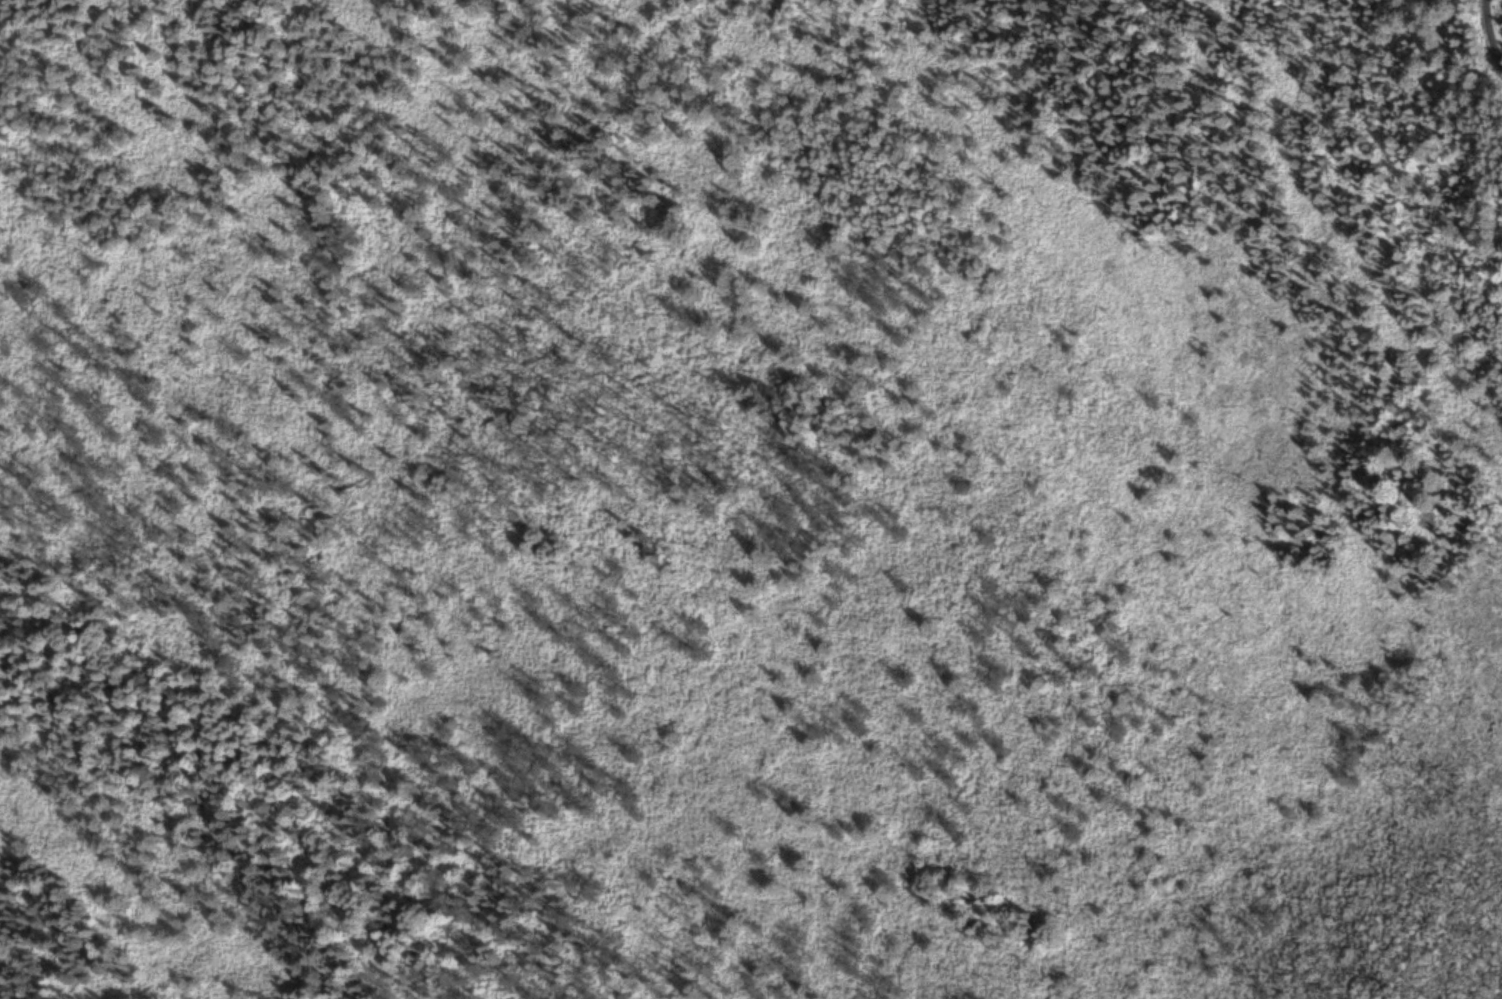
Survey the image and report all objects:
road: (1495, 28)

